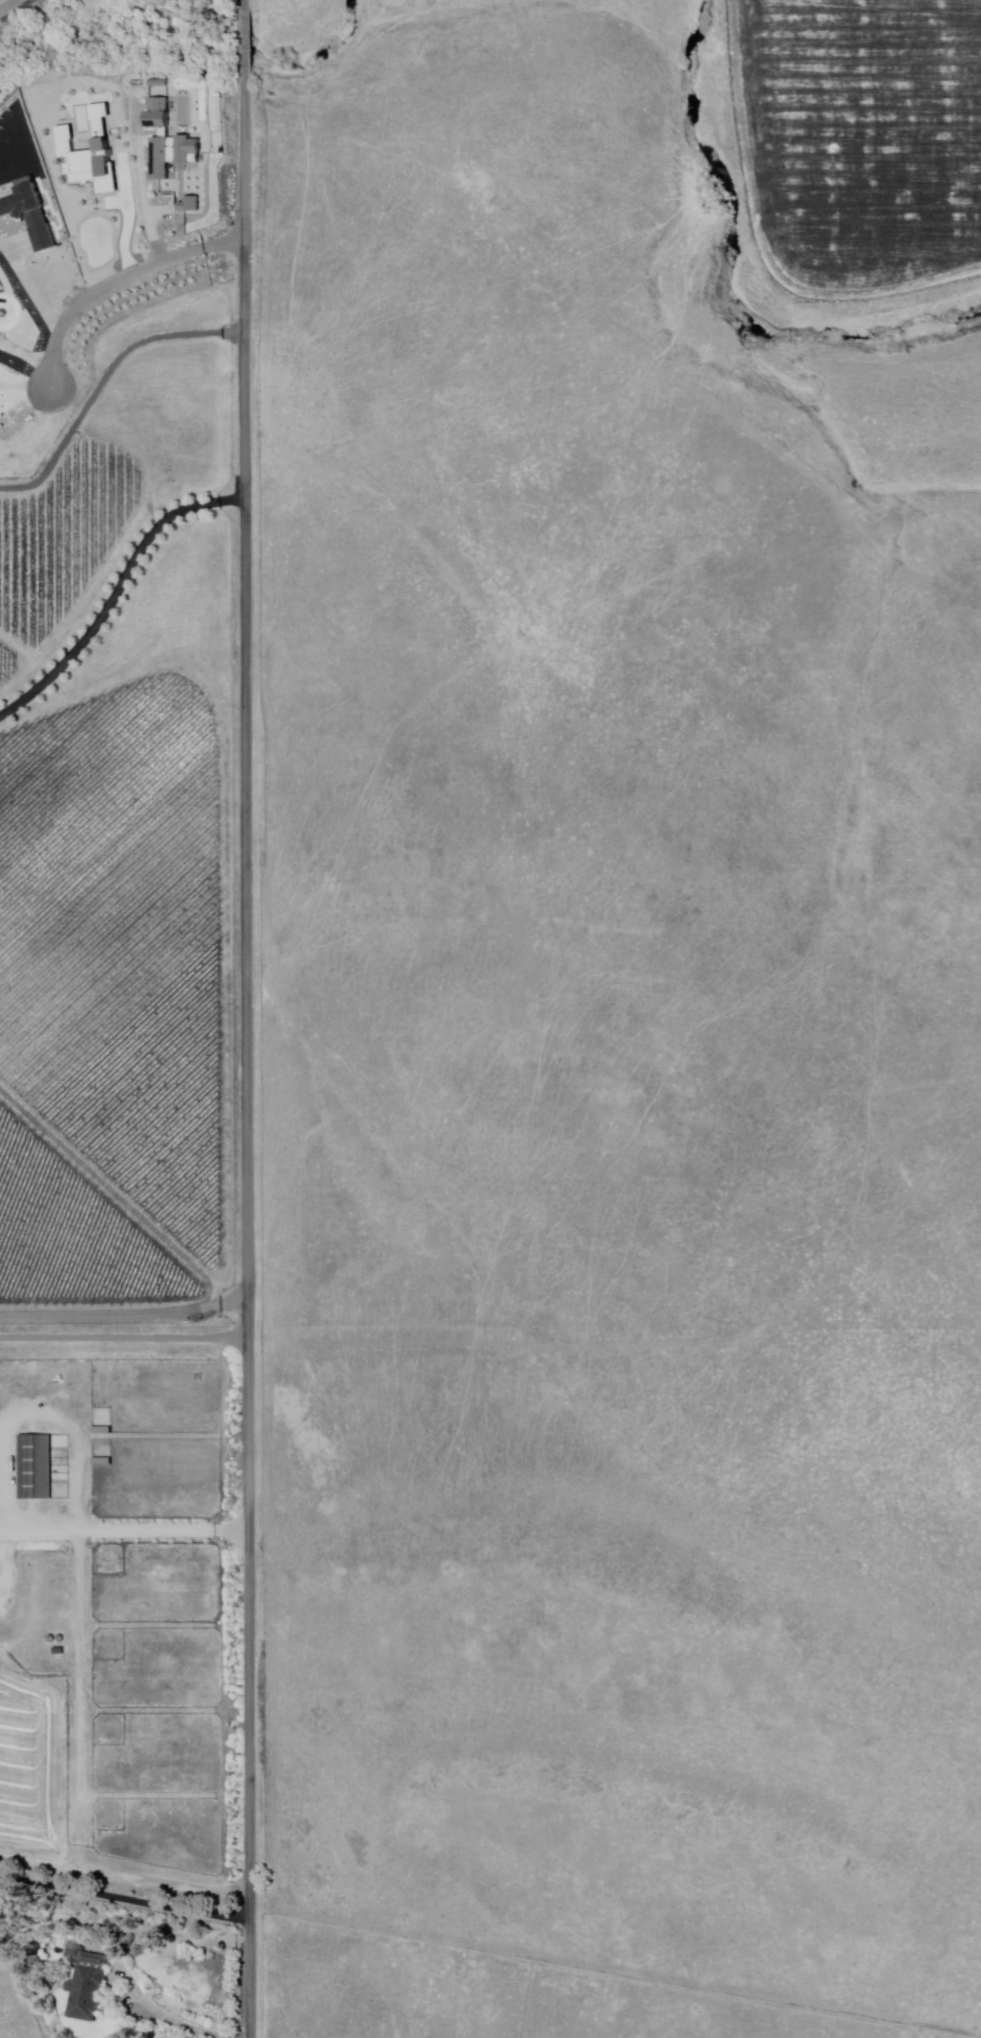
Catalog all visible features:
crop: (11, 6)
road: (244, 17)
road: (244, 53)
building: (159, 113)
crop: (862, 138)
building: (174, 154)
building: (190, 204)
road: (115, 281)
crop: (141, 304)
crop: (111, 479)
road: (118, 594)
road: (246, 1055)
road: (124, 1317)
road: (124, 1337)
building: (104, 1431)
building: (105, 1462)
building: (37, 1468)
road: (123, 1530)
road: (123, 1878)
road: (123, 1896)
building: (89, 1984)
road: (167, 2019)

